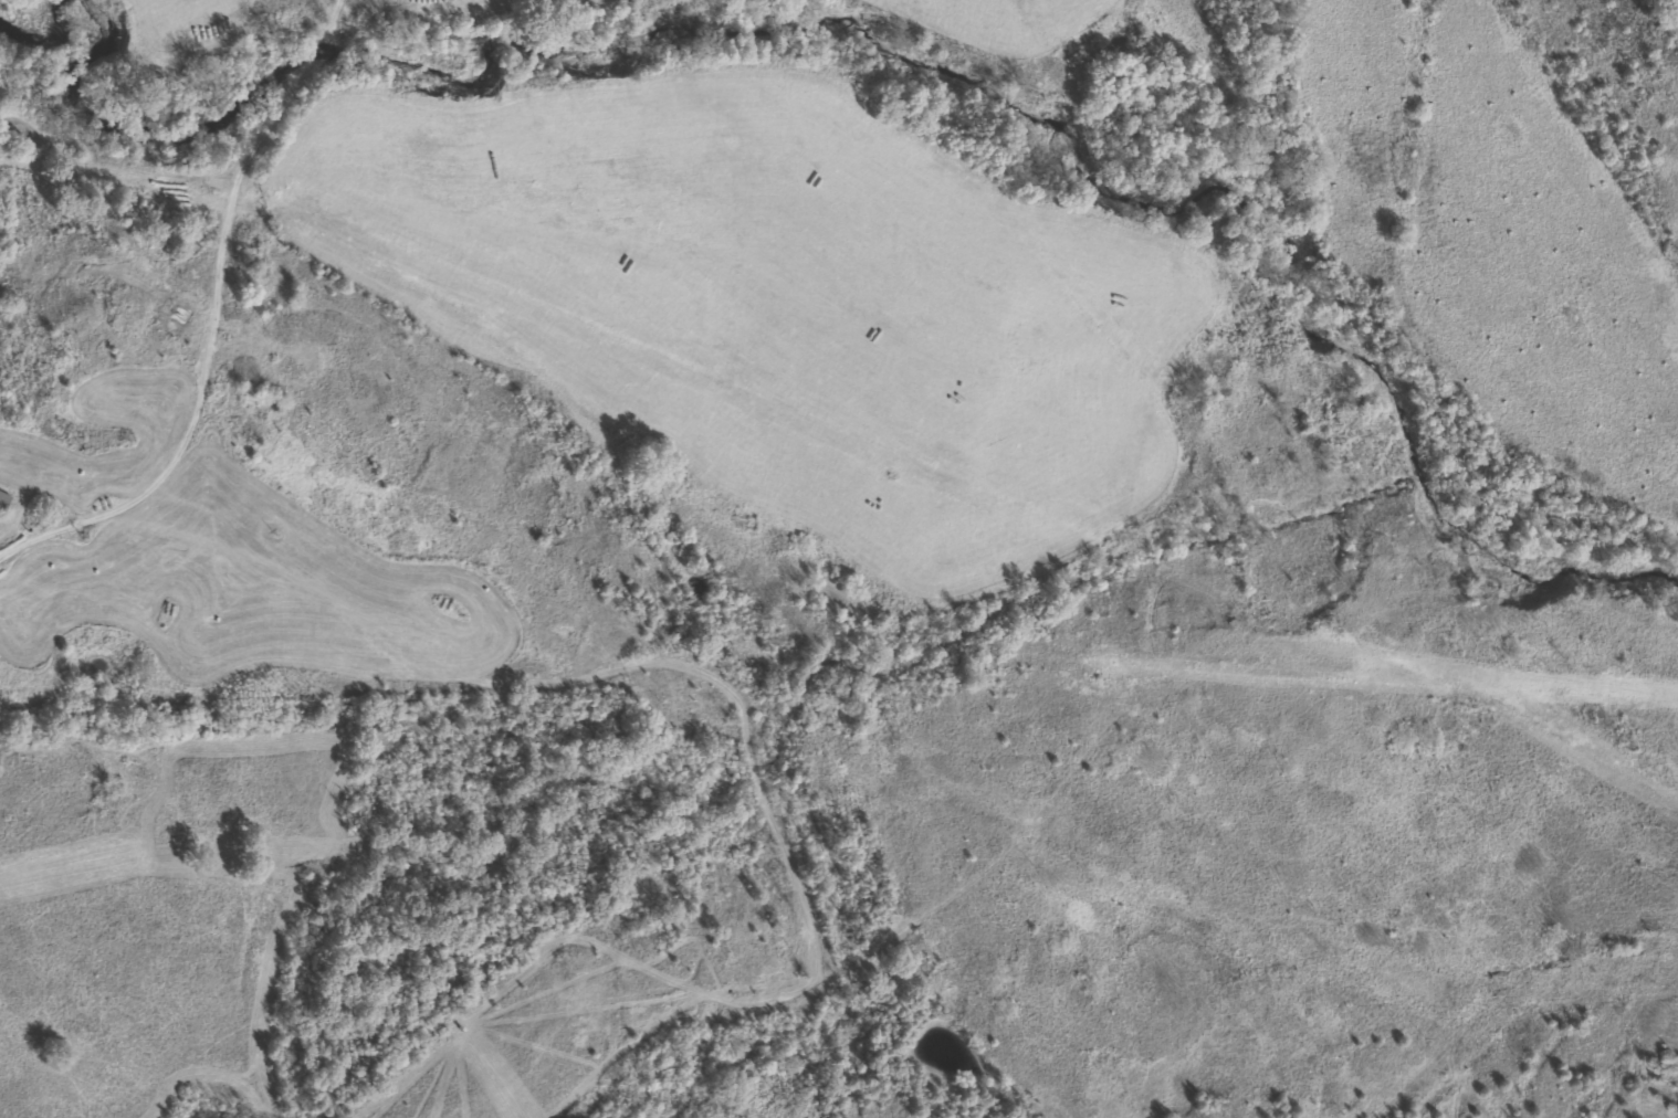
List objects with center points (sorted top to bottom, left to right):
building: (2, 502)

